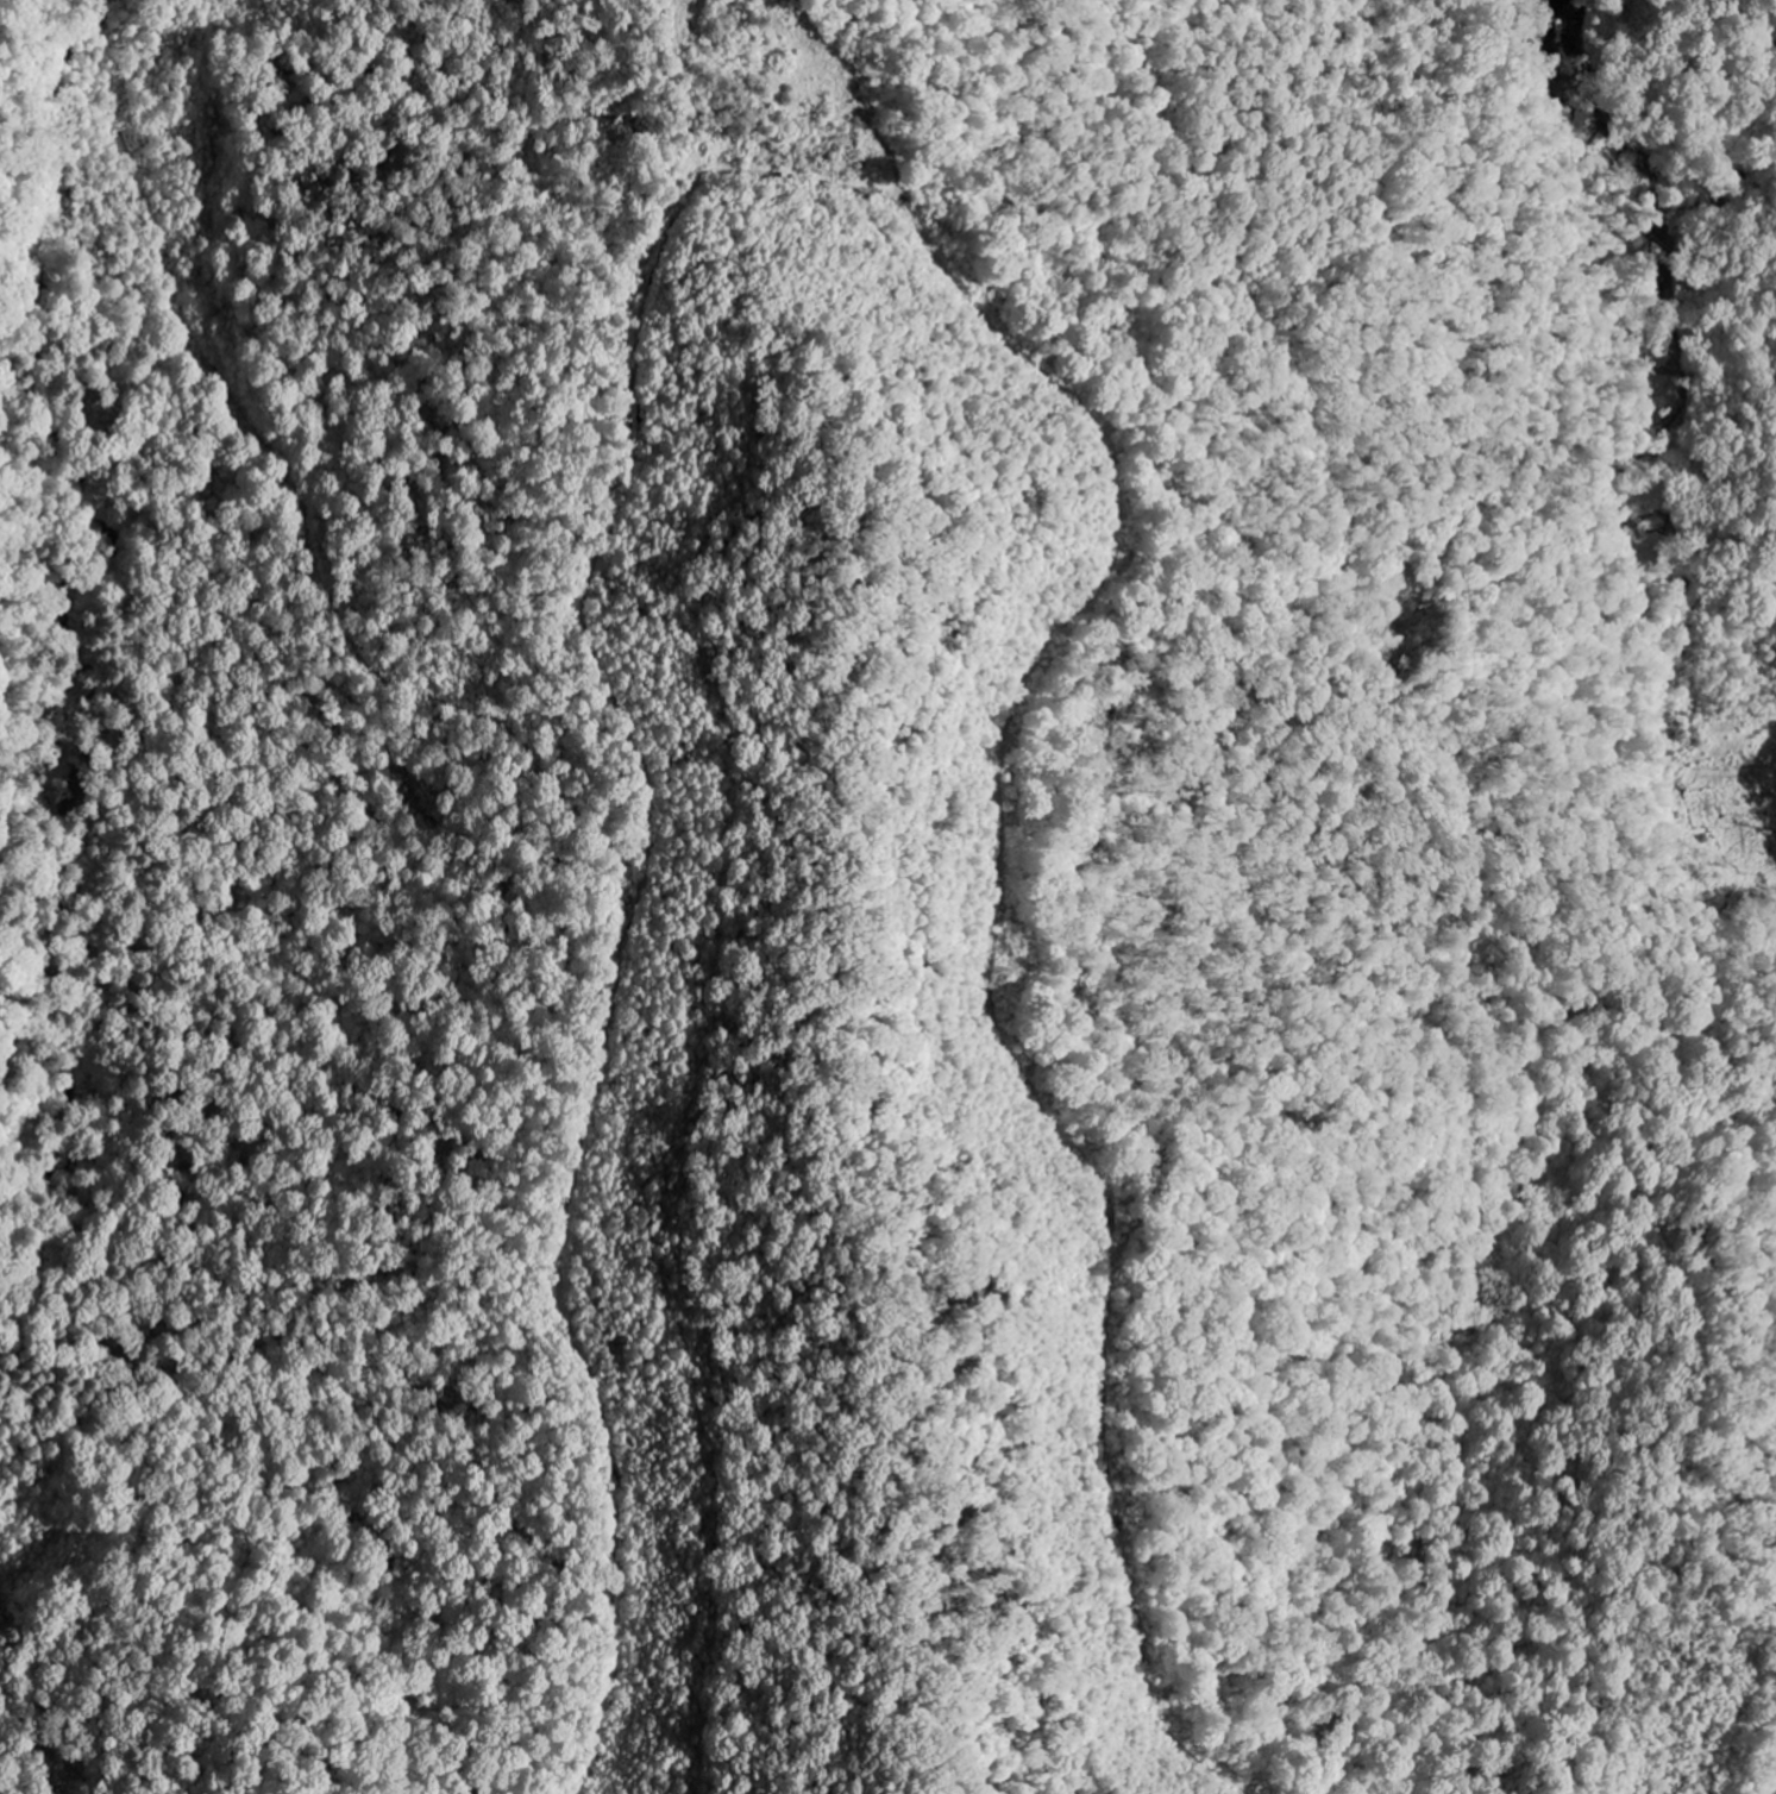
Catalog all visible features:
road: (49, 120)
road: (68, 941)

